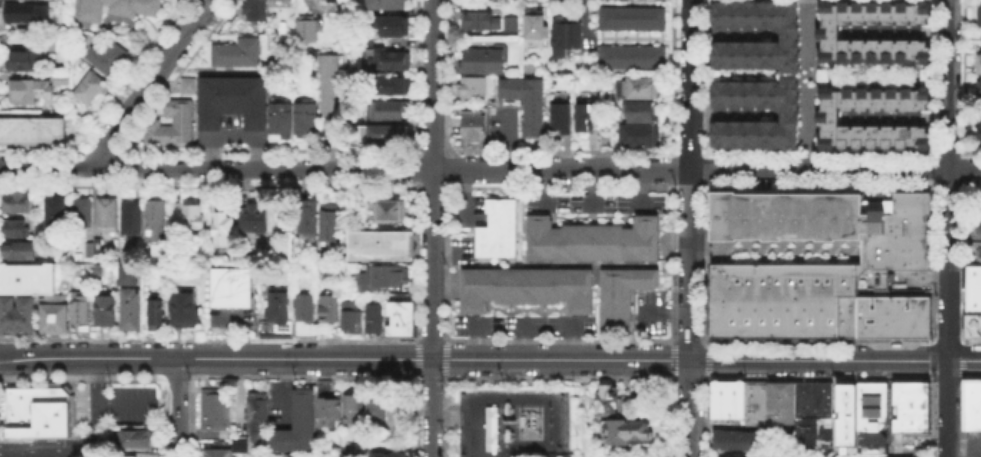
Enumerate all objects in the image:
building: (387, 4)
building: (980, 6)
building: (254, 8)
building: (121, 9)
building: (26, 12)
building: (634, 20)
building: (478, 21)
building: (510, 25)
building: (537, 26)
building: (392, 28)
building: (304, 29)
road: (901, 35)
road: (734, 37)
building: (790, 37)
building: (832, 37)
building: (567, 39)
building: (234, 52)
building: (109, 55)
building: (634, 59)
building: (387, 61)
building: (484, 61)
building: (28, 62)
building: (980, 66)
road: (820, 76)
building: (60, 81)
road: (150, 81)
building: (185, 84)
road: (690, 84)
road: (812, 84)
road: (950, 84)
building: (640, 87)
building: (394, 88)
building: (331, 89)
building: (475, 89)
building: (91, 90)
building: (980, 91)
building: (31, 92)
building: (234, 103)
building: (528, 104)
building: (391, 111)
building: (641, 111)
building: (563, 116)
building: (789, 116)
road: (733, 117)
building: (586, 118)
building: (308, 119)
road: (903, 120)
building: (282, 122)
building: (831, 122)
building: (476, 127)
building: (173, 128)
building: (979, 128)
building: (32, 133)
building: (384, 135)
building: (638, 136)
building: (609, 142)
road: (344, 168)
road: (819, 169)
road: (965, 169)
road: (933, 174)
road: (965, 176)
building: (19, 204)
building: (980, 209)
building: (391, 213)
building: (58, 214)
building: (83, 215)
building: (109, 217)
building: (193, 218)
building: (309, 220)
building: (256, 221)
building: (133, 224)
building: (331, 224)
road: (431, 228)
building: (979, 229)
building: (17, 230)
building: (496, 230)
building: (225, 232)
building: (824, 232)
building: (592, 241)
building: (383, 248)
building: (94, 250)
building: (21, 252)
building: (978, 255)
road: (933, 262)
road: (963, 263)
building: (127, 274)
building: (25, 278)
building: (386, 279)
building: (231, 285)
building: (524, 287)
building: (973, 287)
building: (620, 294)
building: (781, 301)
building: (328, 306)
building: (129, 307)
building: (78, 308)
building: (182, 308)
building: (104, 309)
parking lot: (649, 311)
building: (16, 312)
building: (155, 312)
road: (690, 312)
road: (949, 312)
building: (303, 313)
building: (349, 313)
parking lot: (231, 314)
building: (275, 314)
building: (52, 316)
building: (374, 317)
building: (399, 317)
building: (891, 318)
building: (973, 324)
parking lot: (523, 325)
road: (534, 328)
road: (231, 333)
road: (210, 339)
road: (432, 341)
road: (560, 341)
road: (688, 341)
road: (971, 342)
road: (818, 343)
road: (949, 343)
road: (534, 344)
road: (443, 359)
road: (490, 359)
road: (420, 360)
road: (676, 360)
road: (933, 360)
traffic signals: (949, 360)
road: (705, 361)
road: (961, 361)
road: (178, 378)
road: (305, 378)
road: (432, 379)
road: (559, 379)
road: (84, 380)
road: (690, 380)
road: (821, 380)
road: (949, 381)
road: (971, 381)
road: (95, 384)
building: (725, 398)
building: (810, 398)
building: (609, 401)
building: (779, 401)
building: (753, 402)
road: (137, 403)
building: (971, 403)
parking lot: (131, 404)
building: (869, 405)
building: (625, 406)
building: (908, 406)
road: (177, 407)
building: (35, 411)
building: (217, 412)
building: (340, 412)
building: (845, 413)
building: (378, 414)
road: (933, 416)
building: (258, 417)
road: (961, 418)
power substation: (510, 421)
building: (300, 425)
building: (489, 427)
building: (628, 432)
building: (136, 437)
road: (55, 439)
building: (738, 442)
building: (238, 443)
road: (48, 450)
building: (354, 451)
building: (386, 453)
building: (219, 454)
building: (128, 455)
building: (546, 456)
building: (721, 456)

